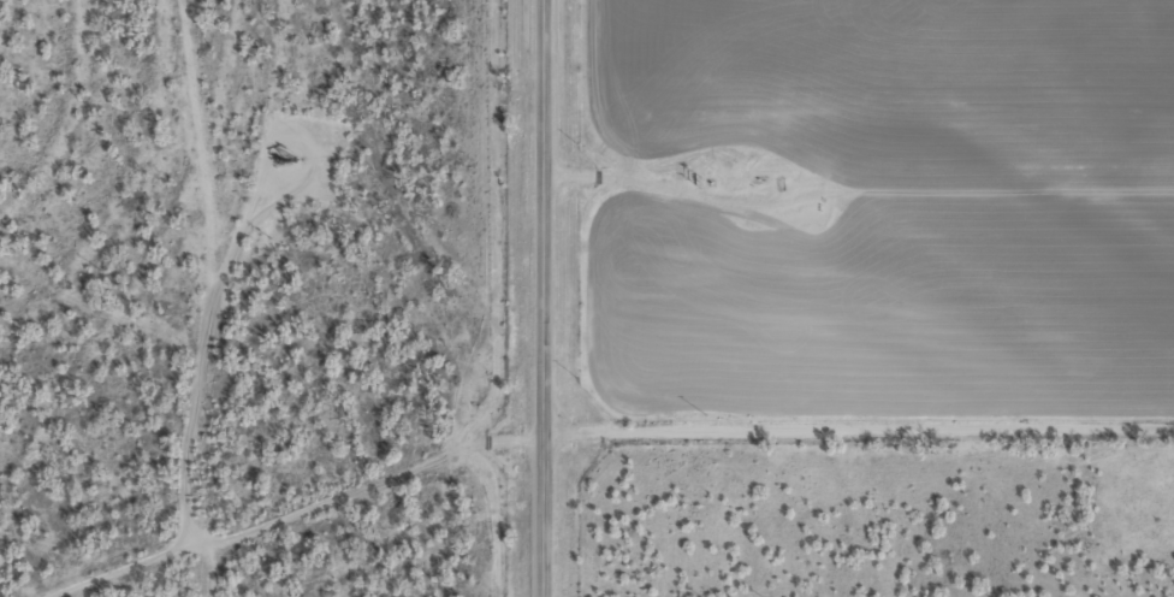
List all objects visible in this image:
road: (542, 298)
road: (858, 427)
road: (303, 519)

